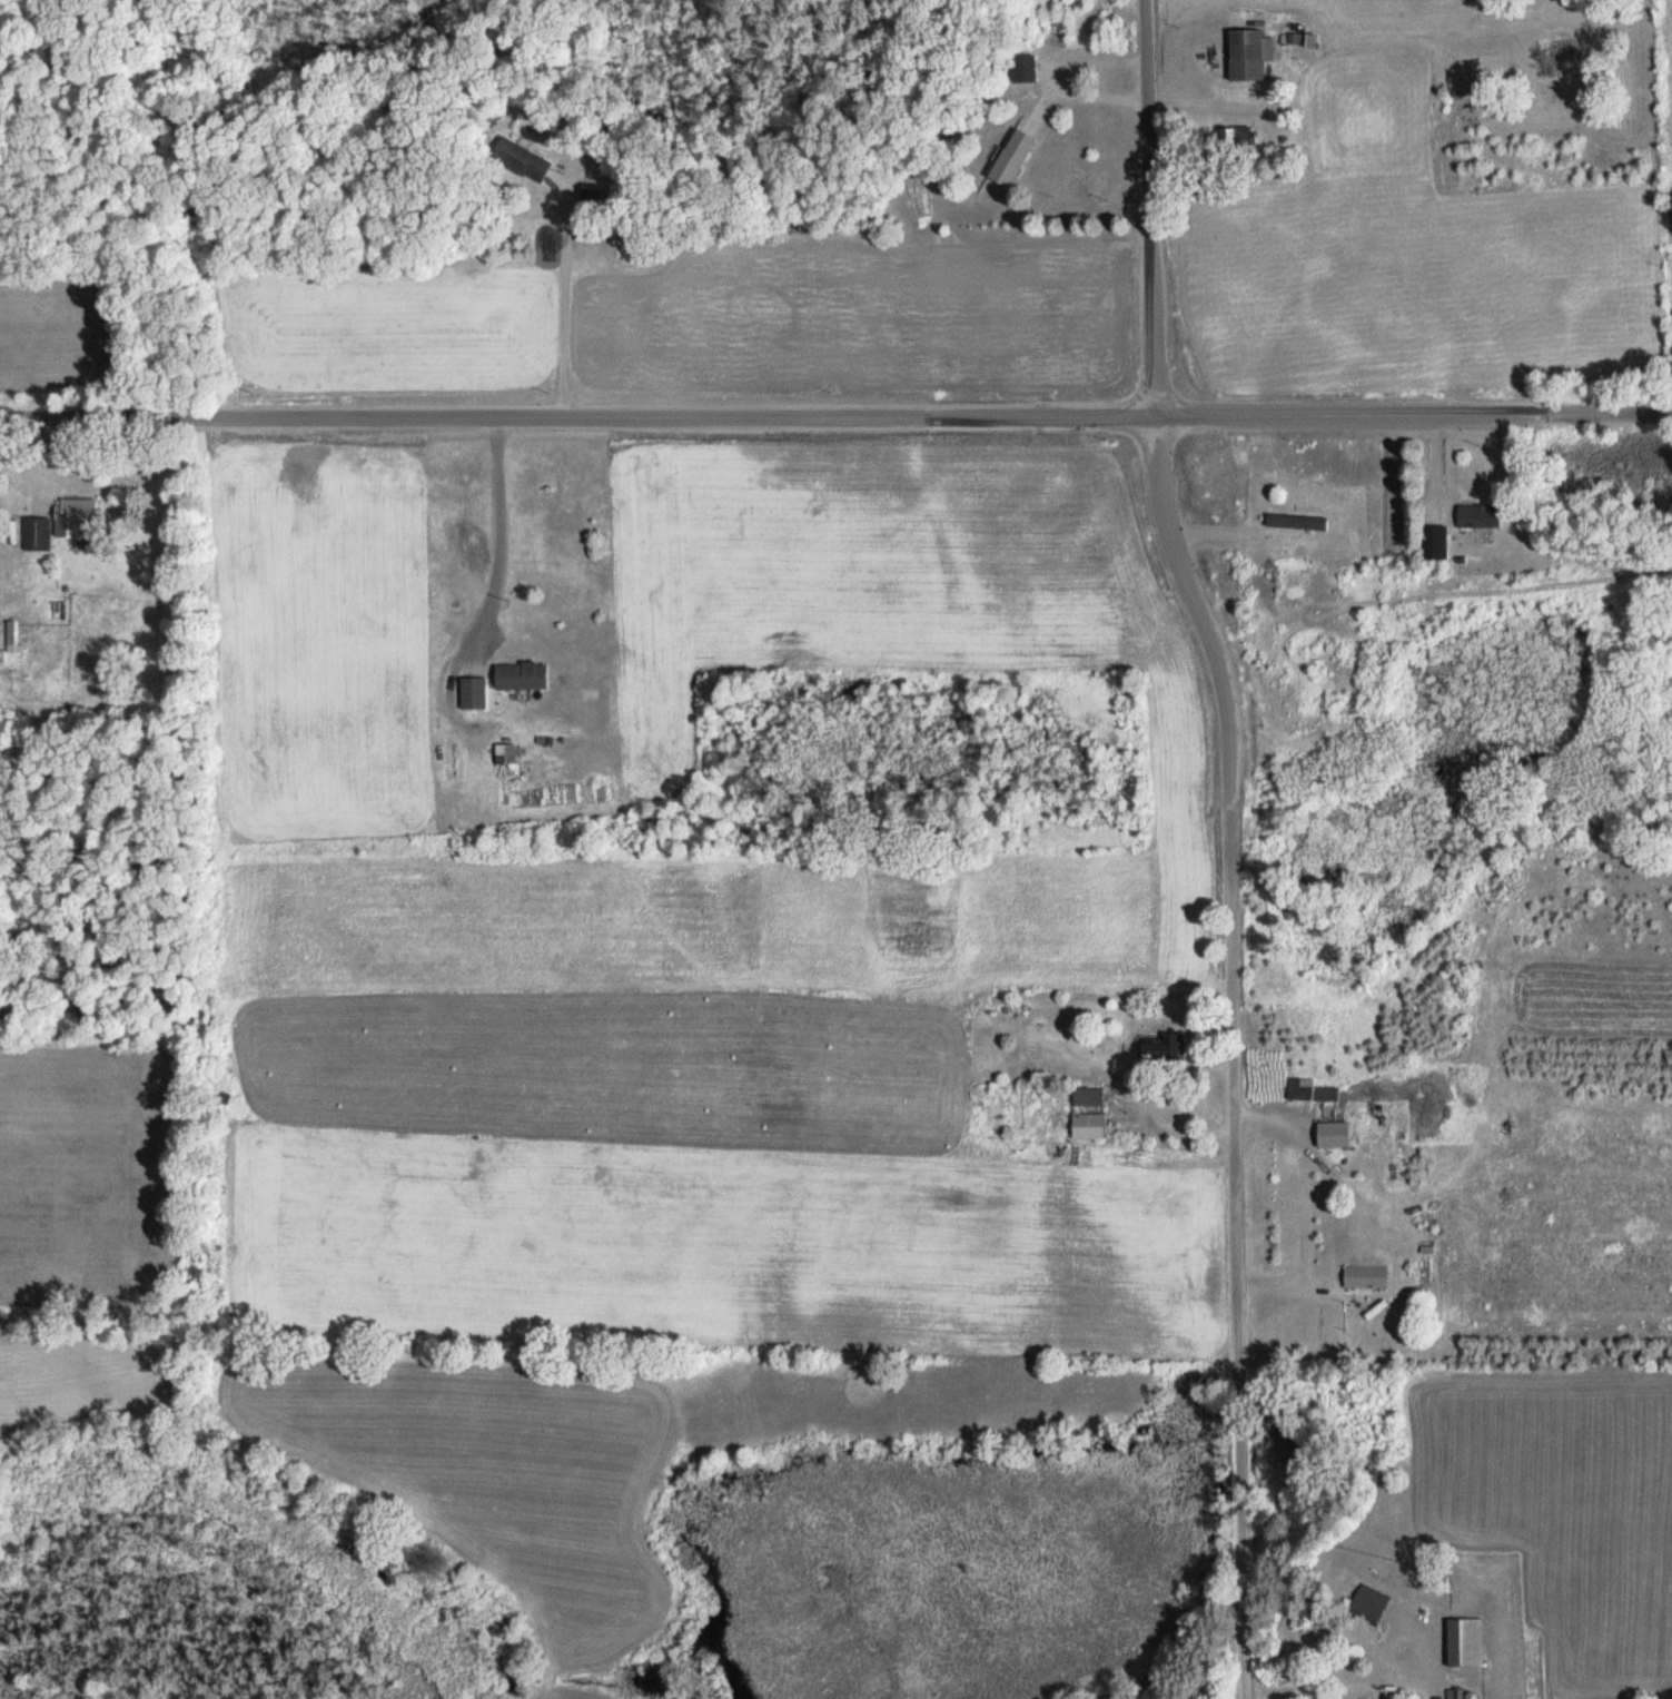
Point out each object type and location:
building: (1248, 53)
road: (1090, 61)
building: (1022, 68)
road: (1086, 92)
building: (1239, 137)
building: (1011, 158)
building: (518, 159)
road: (1152, 208)
road: (566, 298)
road: (1450, 414)
road: (1194, 416)
road: (578, 417)
building: (75, 507)
building: (1477, 513)
building: (1295, 520)
building: (36, 533)
road: (502, 535)
building: (1433, 541)
building: (520, 674)
building: (472, 692)
building: (1161, 1046)
road: (1237, 1057)
building: (1308, 1088)
building: (1087, 1096)
building: (1087, 1124)
building: (1333, 1133)
building: (1365, 1275)
building: (1369, 1600)
building: (1464, 1641)
road: (1407, 1691)

